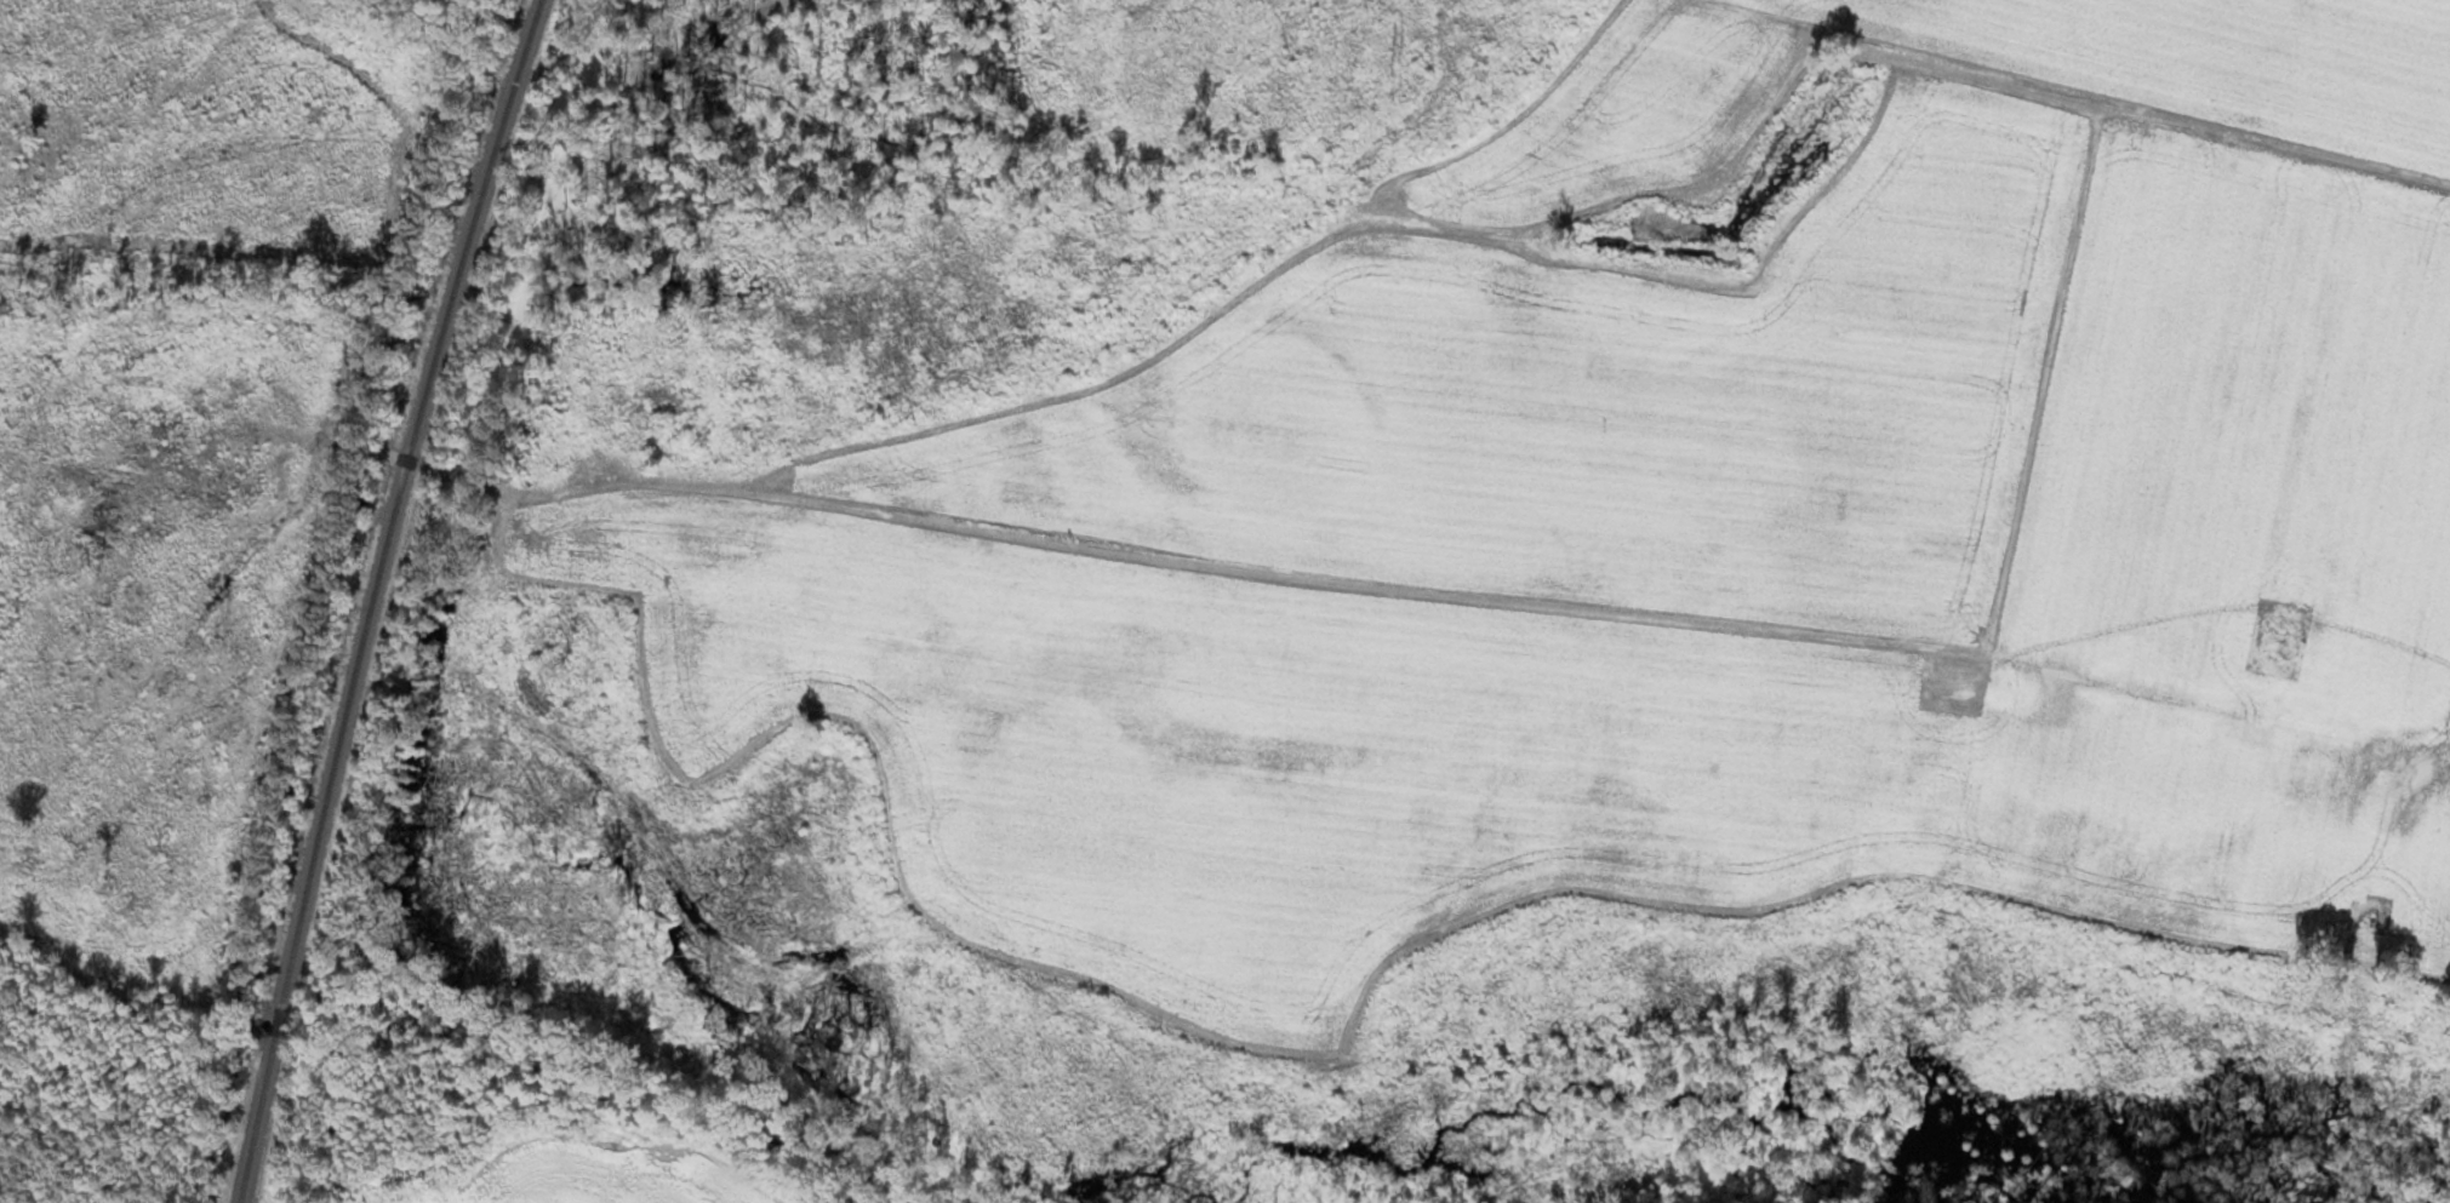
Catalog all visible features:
railway: (396, 499)
road: (1518, 602)
road: (2445, 706)
building: (2388, 777)
railway: (278, 1022)
railway: (257, 1119)

